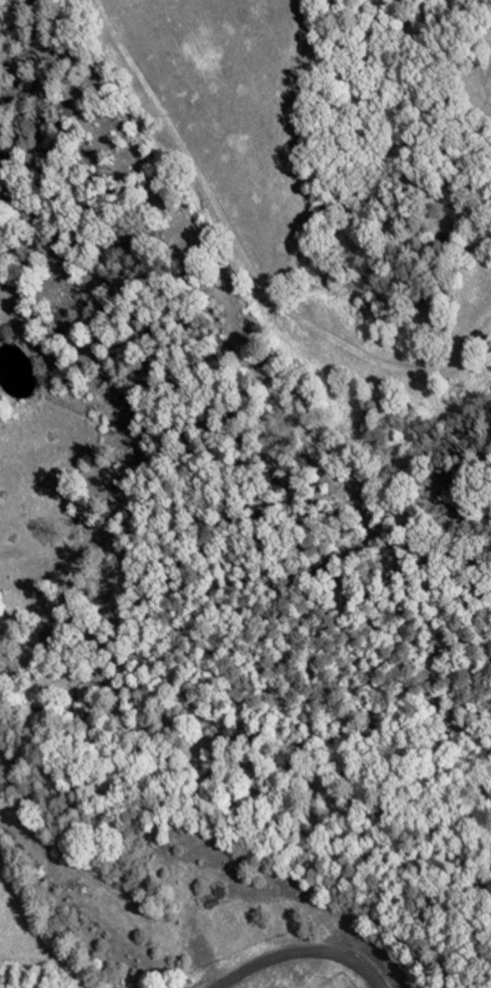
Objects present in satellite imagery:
road: (297, 953)

